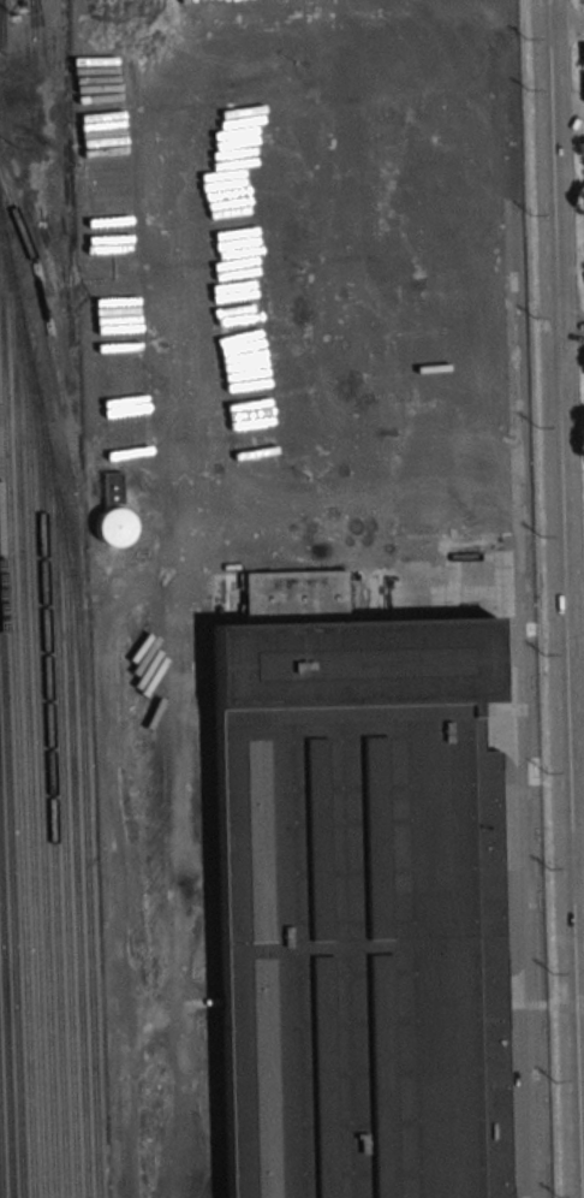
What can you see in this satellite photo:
road: (565, 26)
building: (583, 51)
road: (42, 185)
railway: (48, 330)
building: (114, 514)
road: (568, 598)
road: (577, 619)
railway: (82, 696)
railway: (17, 714)
railway: (28, 735)
railway: (40, 765)
railway: (52, 793)
railway: (64, 826)
road: (578, 848)
railway: (76, 859)
road: (578, 859)
railway: (12, 866)
building: (360, 909)
road: (536, 911)
railway: (5, 1021)
railway: (0, 1190)

